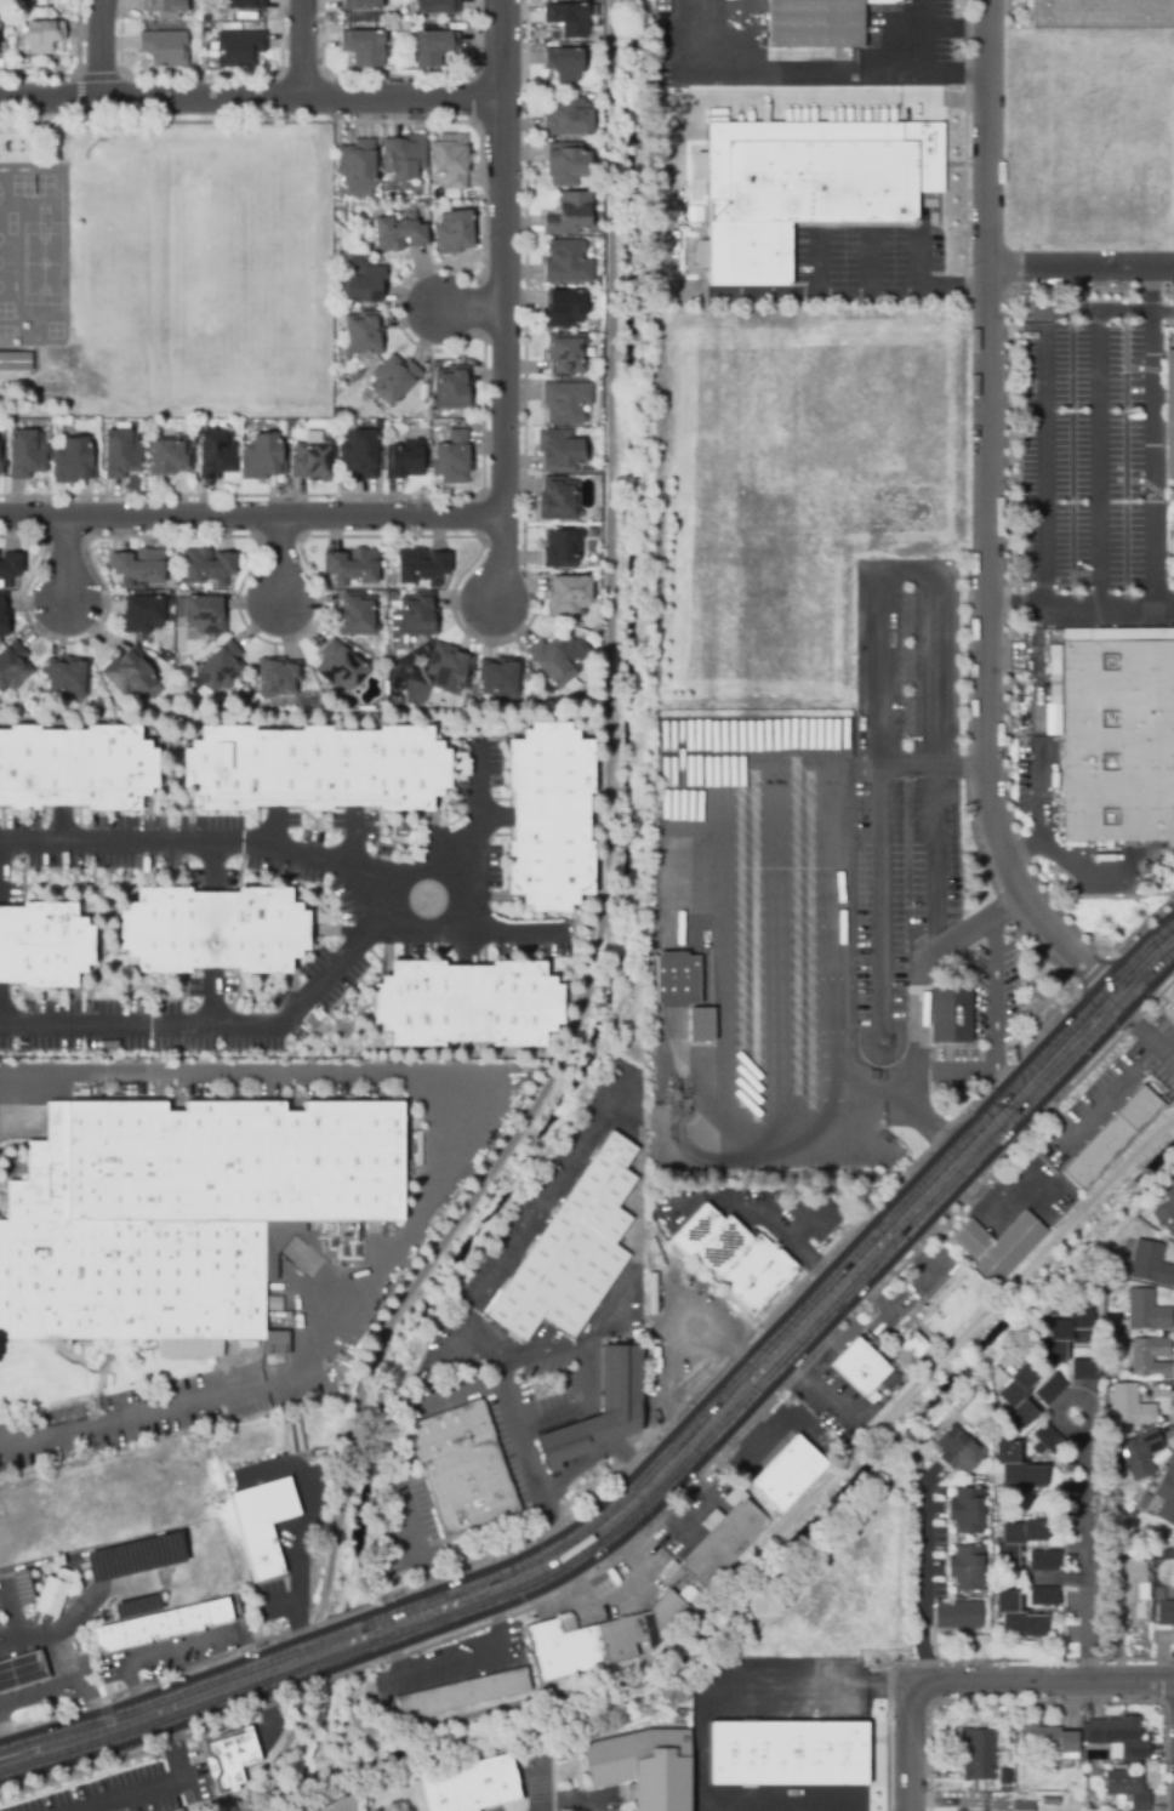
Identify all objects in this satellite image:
building: (246, 4)
building: (360, 5)
building: (435, 6)
building: (167, 7)
building: (1102, 13)
building: (569, 18)
building: (816, 22)
road: (953, 29)
building: (42, 35)
road: (914, 39)
building: (11, 40)
building: (165, 47)
building: (364, 47)
building: (433, 47)
building: (239, 49)
road: (106, 52)
road: (308, 52)
building: (565, 63)
road: (804, 81)
road: (252, 104)
building: (569, 118)
building: (405, 158)
building: (451, 160)
building: (566, 163)
building: (357, 167)
building: (805, 187)
building: (570, 213)
building: (455, 232)
building: (400, 233)
building: (568, 261)
road: (814, 264)
road: (866, 264)
road: (1082, 266)
building: (363, 281)
road: (925, 290)
road: (763, 296)
road: (507, 308)
building: (564, 308)
road: (471, 311)
building: (364, 335)
building: (566, 353)
building: (1030, 358)
building: (16, 368)
building: (393, 380)
building: (454, 387)
building: (566, 402)
road: (1041, 406)
building: (1169, 412)
building: (378, 425)
building: (57, 427)
building: (560, 450)
road: (991, 450)
building: (28, 454)
building: (121, 454)
building: (217, 454)
building: (359, 454)
building: (167, 456)
building: (264, 457)
building: (0, 459)
building: (454, 459)
building: (404, 460)
building: (75, 461)
building: (313, 462)
road: (1098, 462)
building: (559, 499)
road: (1153, 520)
road: (252, 522)
building: (563, 547)
road: (70, 565)
road: (284, 565)
building: (421, 565)
building: (139, 566)
building: (207, 566)
building: (352, 566)
building: (10, 569)
road: (907, 570)
building: (569, 593)
road: (1164, 610)
building: (142, 614)
building: (204, 614)
building: (418, 614)
building: (4, 615)
building: (357, 615)
building: (555, 660)
building: (13, 666)
building: (340, 667)
building: (449, 667)
building: (220, 668)
building: (133, 673)
building: (68, 676)
building: (278, 676)
building: (500, 677)
building: (1116, 731)
building: (76, 767)
building: (317, 767)
road: (961, 770)
road: (1036, 813)
building: (551, 816)
road: (496, 819)
road: (483, 838)
road: (207, 854)
road: (606, 859)
road: (933, 860)
road: (212, 870)
road: (1076, 872)
road: (877, 881)
road: (847, 917)
building: (213, 929)
road: (963, 935)
road: (1173, 939)
building: (44, 944)
road: (1068, 946)
road: (1146, 964)
road: (725, 972)
road: (775, 972)
building: (674, 981)
road: (992, 993)
building: (468, 1003)
building: (1172, 1009)
road: (206, 1010)
road: (298, 1012)
building: (951, 1014)
building: (697, 1025)
road: (1140, 1036)
road: (968, 1070)
road: (1045, 1073)
road: (919, 1082)
road: (1010, 1083)
road: (1115, 1097)
road: (883, 1107)
road: (602, 1123)
building: (1111, 1139)
road: (466, 1147)
road: (781, 1150)
road: (982, 1188)
building: (1169, 1196)
road: (763, 1215)
building: (181, 1217)
building: (1164, 1217)
road: (753, 1228)
road: (804, 1229)
building: (571, 1252)
building: (731, 1258)
building: (1147, 1263)
building: (975, 1274)
road: (912, 1288)
road: (661, 1300)
building: (1144, 1310)
building: (1065, 1336)
building: (906, 1344)
road: (683, 1349)
building: (1147, 1356)
road: (588, 1362)
building: (859, 1368)
building: (1083, 1372)
road: (819, 1388)
building: (1048, 1390)
building: (1018, 1396)
building: (1128, 1405)
road: (429, 1407)
building: (600, 1411)
road: (748, 1428)
road: (706, 1433)
building: (1044, 1441)
road: (599, 1450)
building: (956, 1452)
building: (1138, 1452)
building: (1015, 1469)
building: (461, 1470)
building: (786, 1475)
building: (1166, 1493)
building: (1147, 1502)
building: (965, 1511)
building: (261, 1525)
road: (304, 1526)
road: (790, 1536)
building: (722, 1541)
building: (1015, 1541)
road: (1087, 1548)
building: (1042, 1562)
building: (965, 1568)
road: (921, 1577)
road: (604, 1579)
building: (1130, 1579)
road: (627, 1594)
building: (49, 1596)
building: (1042, 1596)
building: (1116, 1602)
building: (1164, 1614)
road: (12, 1617)
building: (957, 1617)
building: (1015, 1617)
building: (148, 1630)
road: (61, 1631)
building: (597, 1640)
road: (177, 1648)
road: (454, 1665)
building: (21, 1669)
road: (981, 1685)
road: (746, 1687)
road: (63, 1688)
building: (460, 1696)
road: (194, 1705)
building: (1116, 1737)
road: (296, 1738)
building: (1049, 1743)
building: (786, 1755)
building: (979, 1755)
building: (228, 1759)
building: (642, 1766)
road: (540, 1782)
building: (1004, 1782)
building: (469, 1787)
building: (1125, 1790)
road: (147, 1793)
road: (574, 1803)
building: (1022, 1804)
building: (344, 1805)
building: (178, 1810)
building: (961, 1810)

